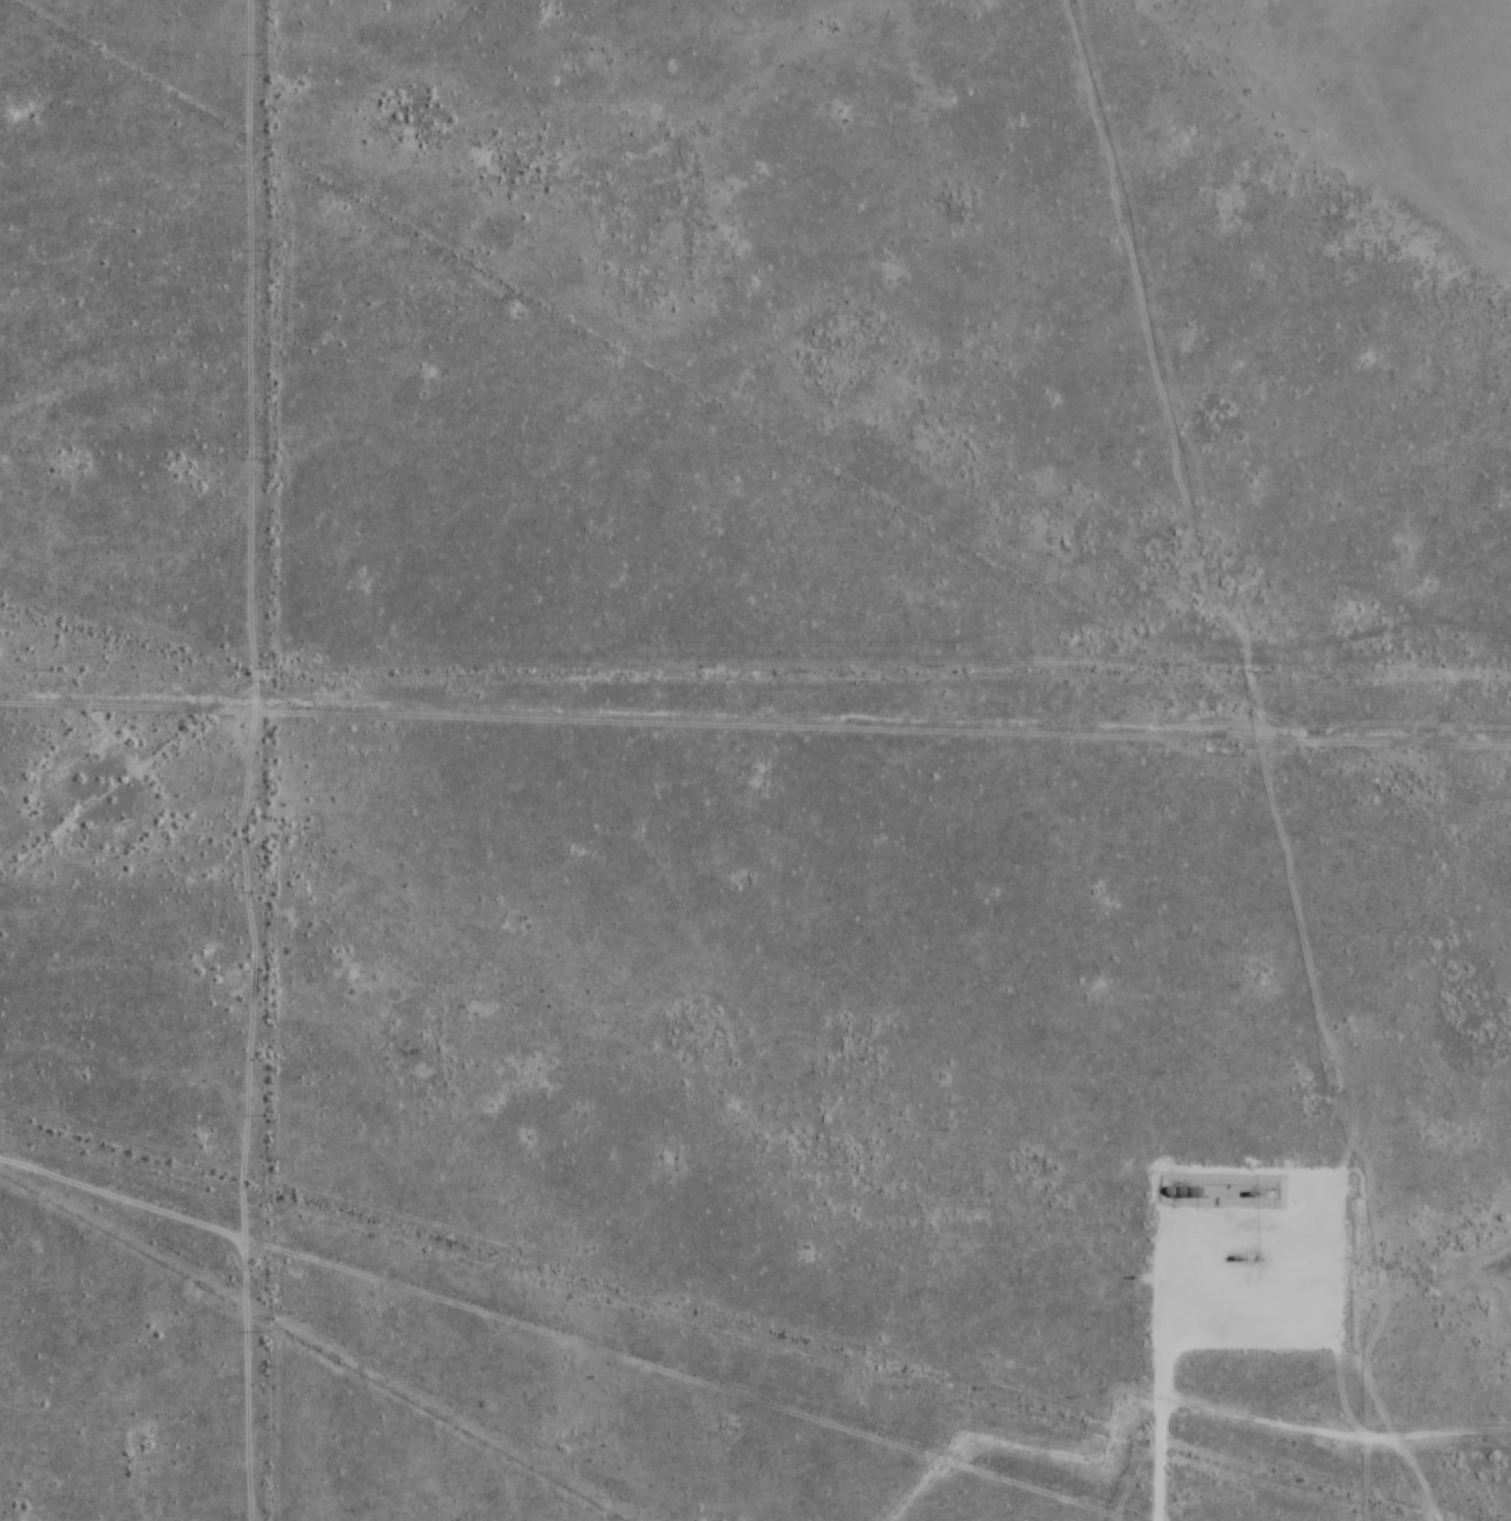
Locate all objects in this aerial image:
road: (754, 636)
road: (165, 760)

